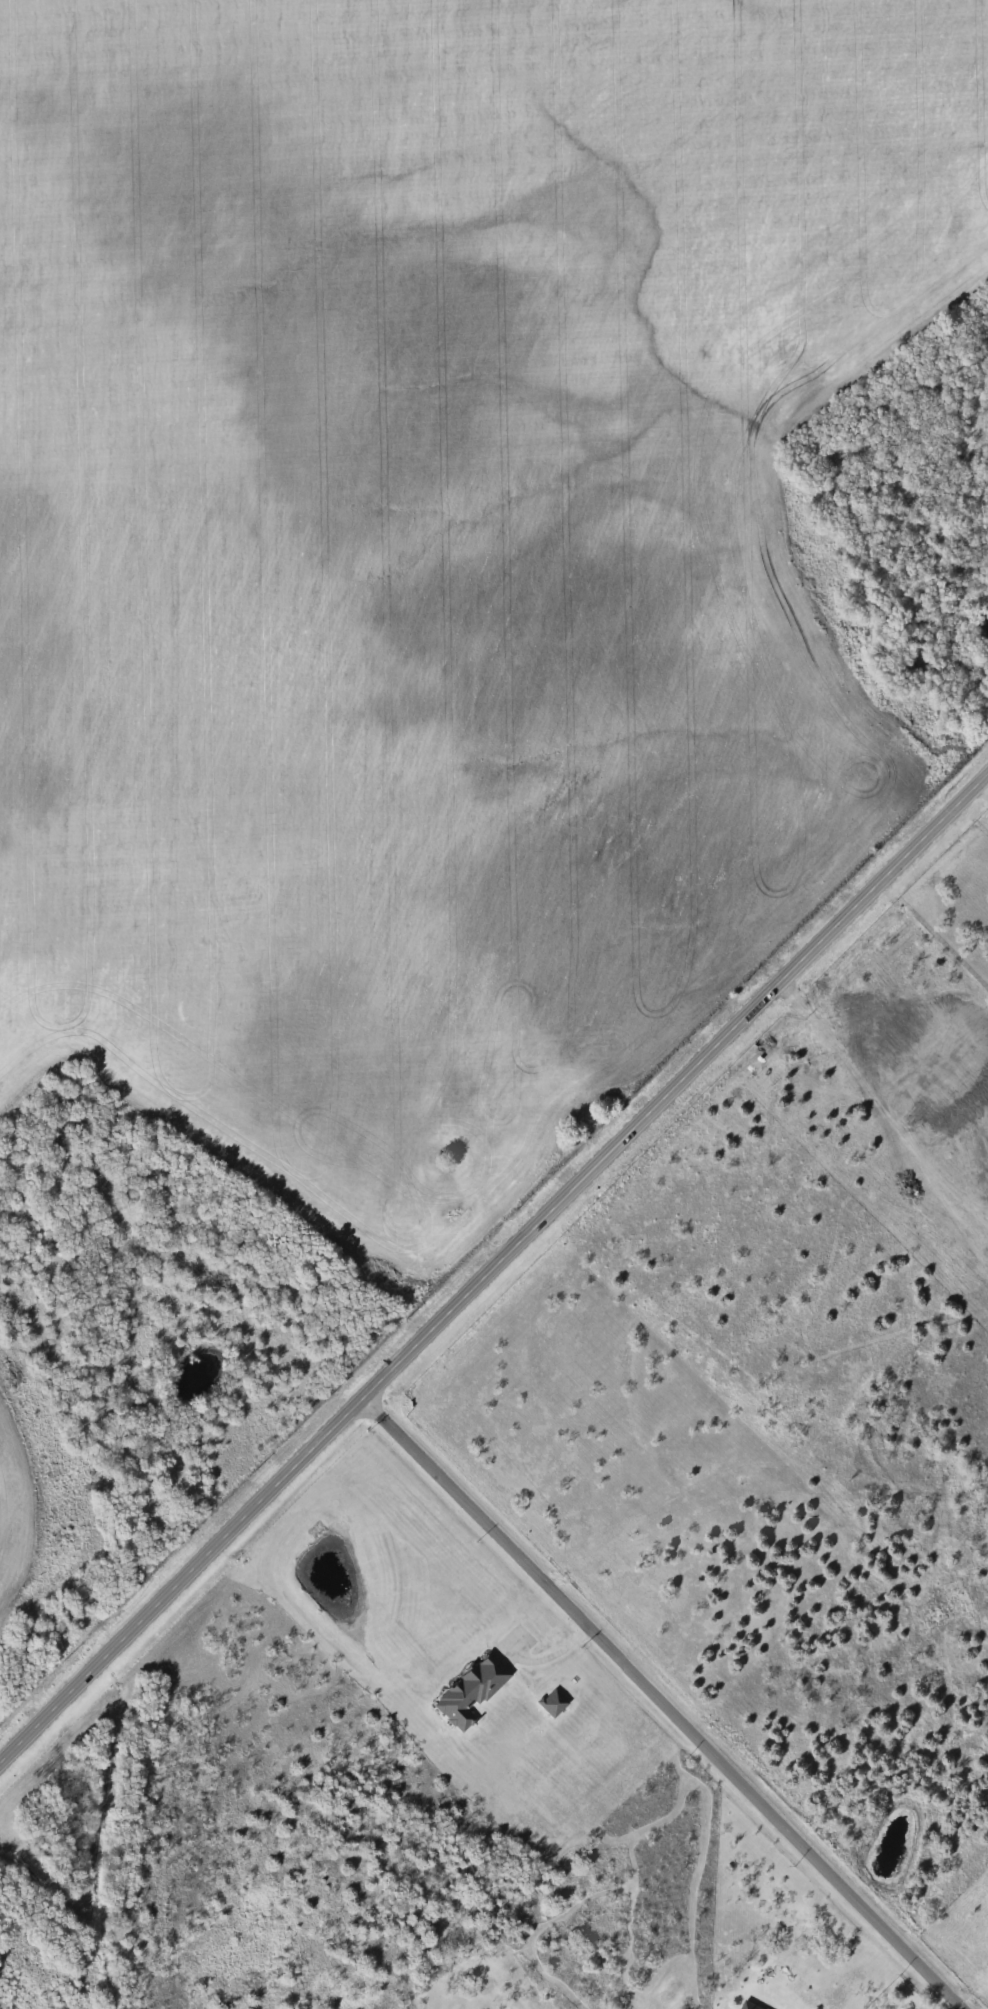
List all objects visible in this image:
road: (491, 1261)
road: (552, 1657)
building: (470, 1692)
road: (660, 1702)
building: (553, 1704)

